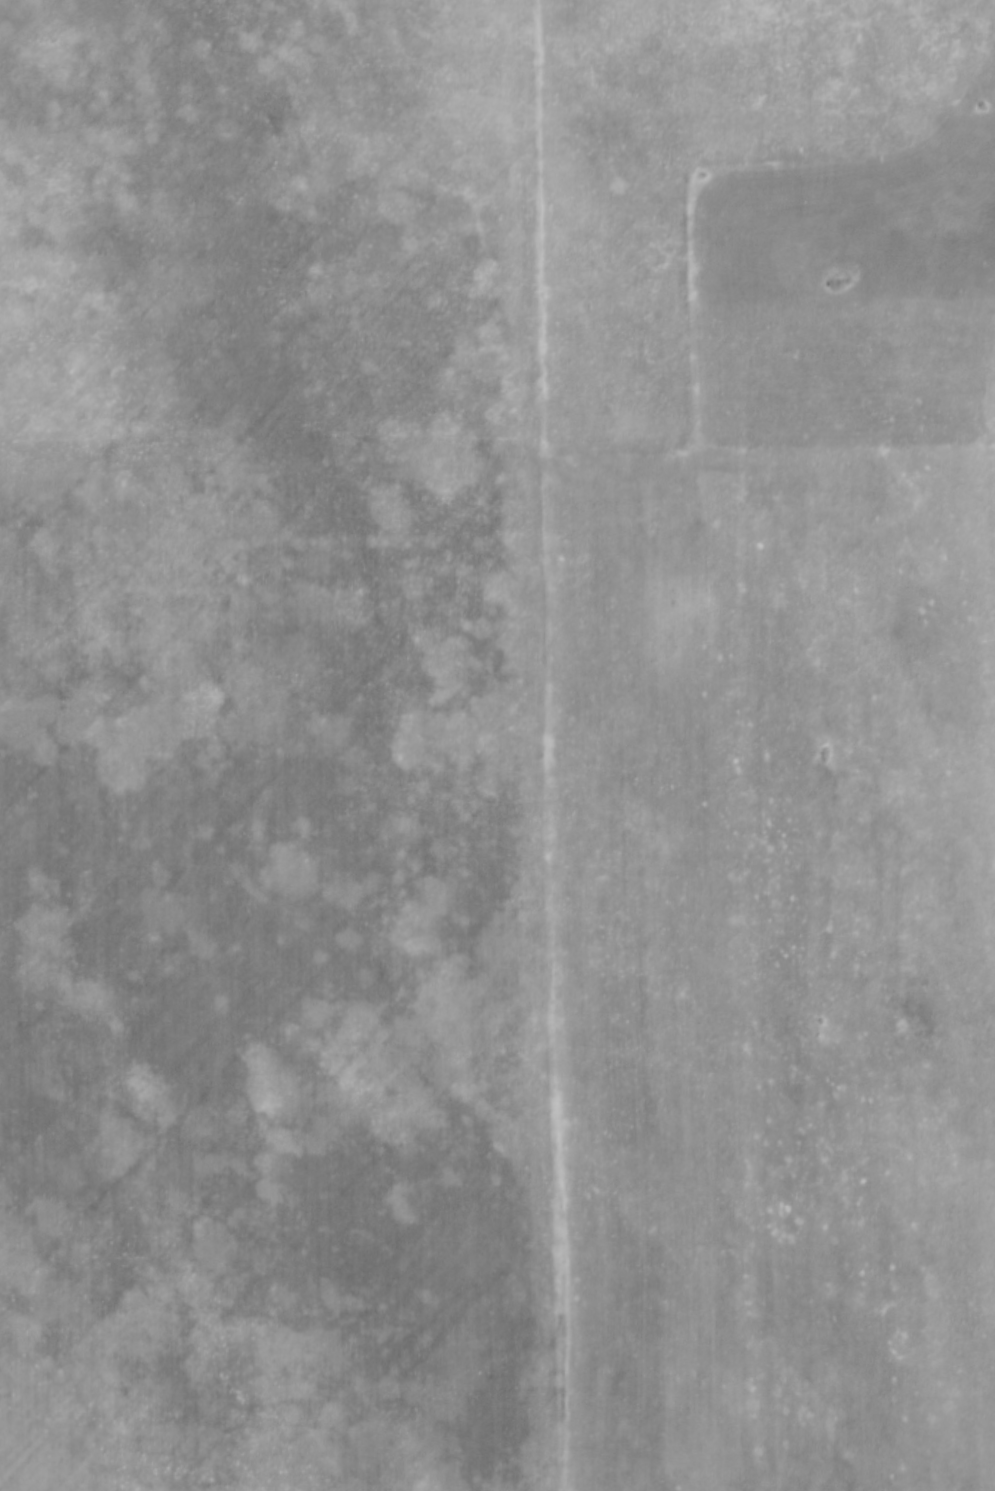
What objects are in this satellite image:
road: (534, 745)

